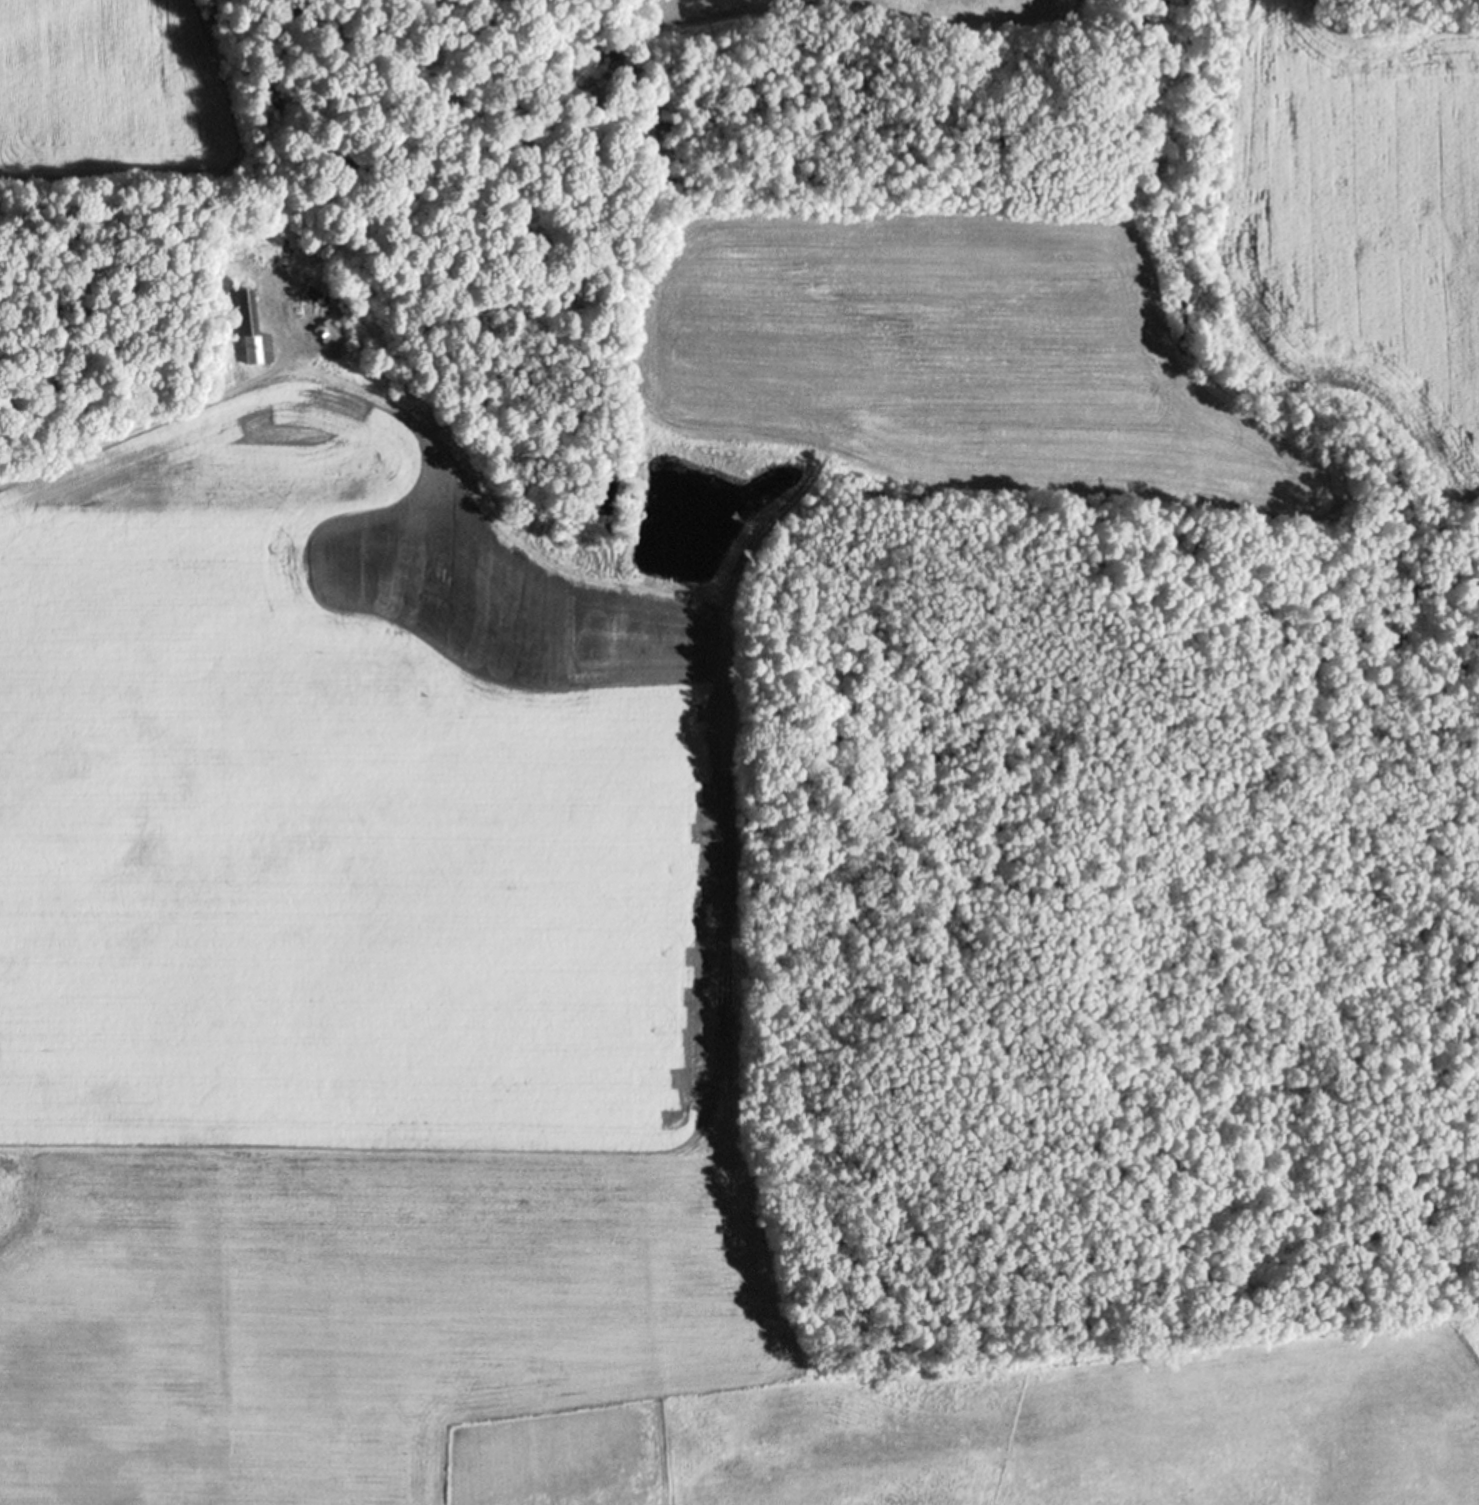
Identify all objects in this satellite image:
building: (249, 325)

